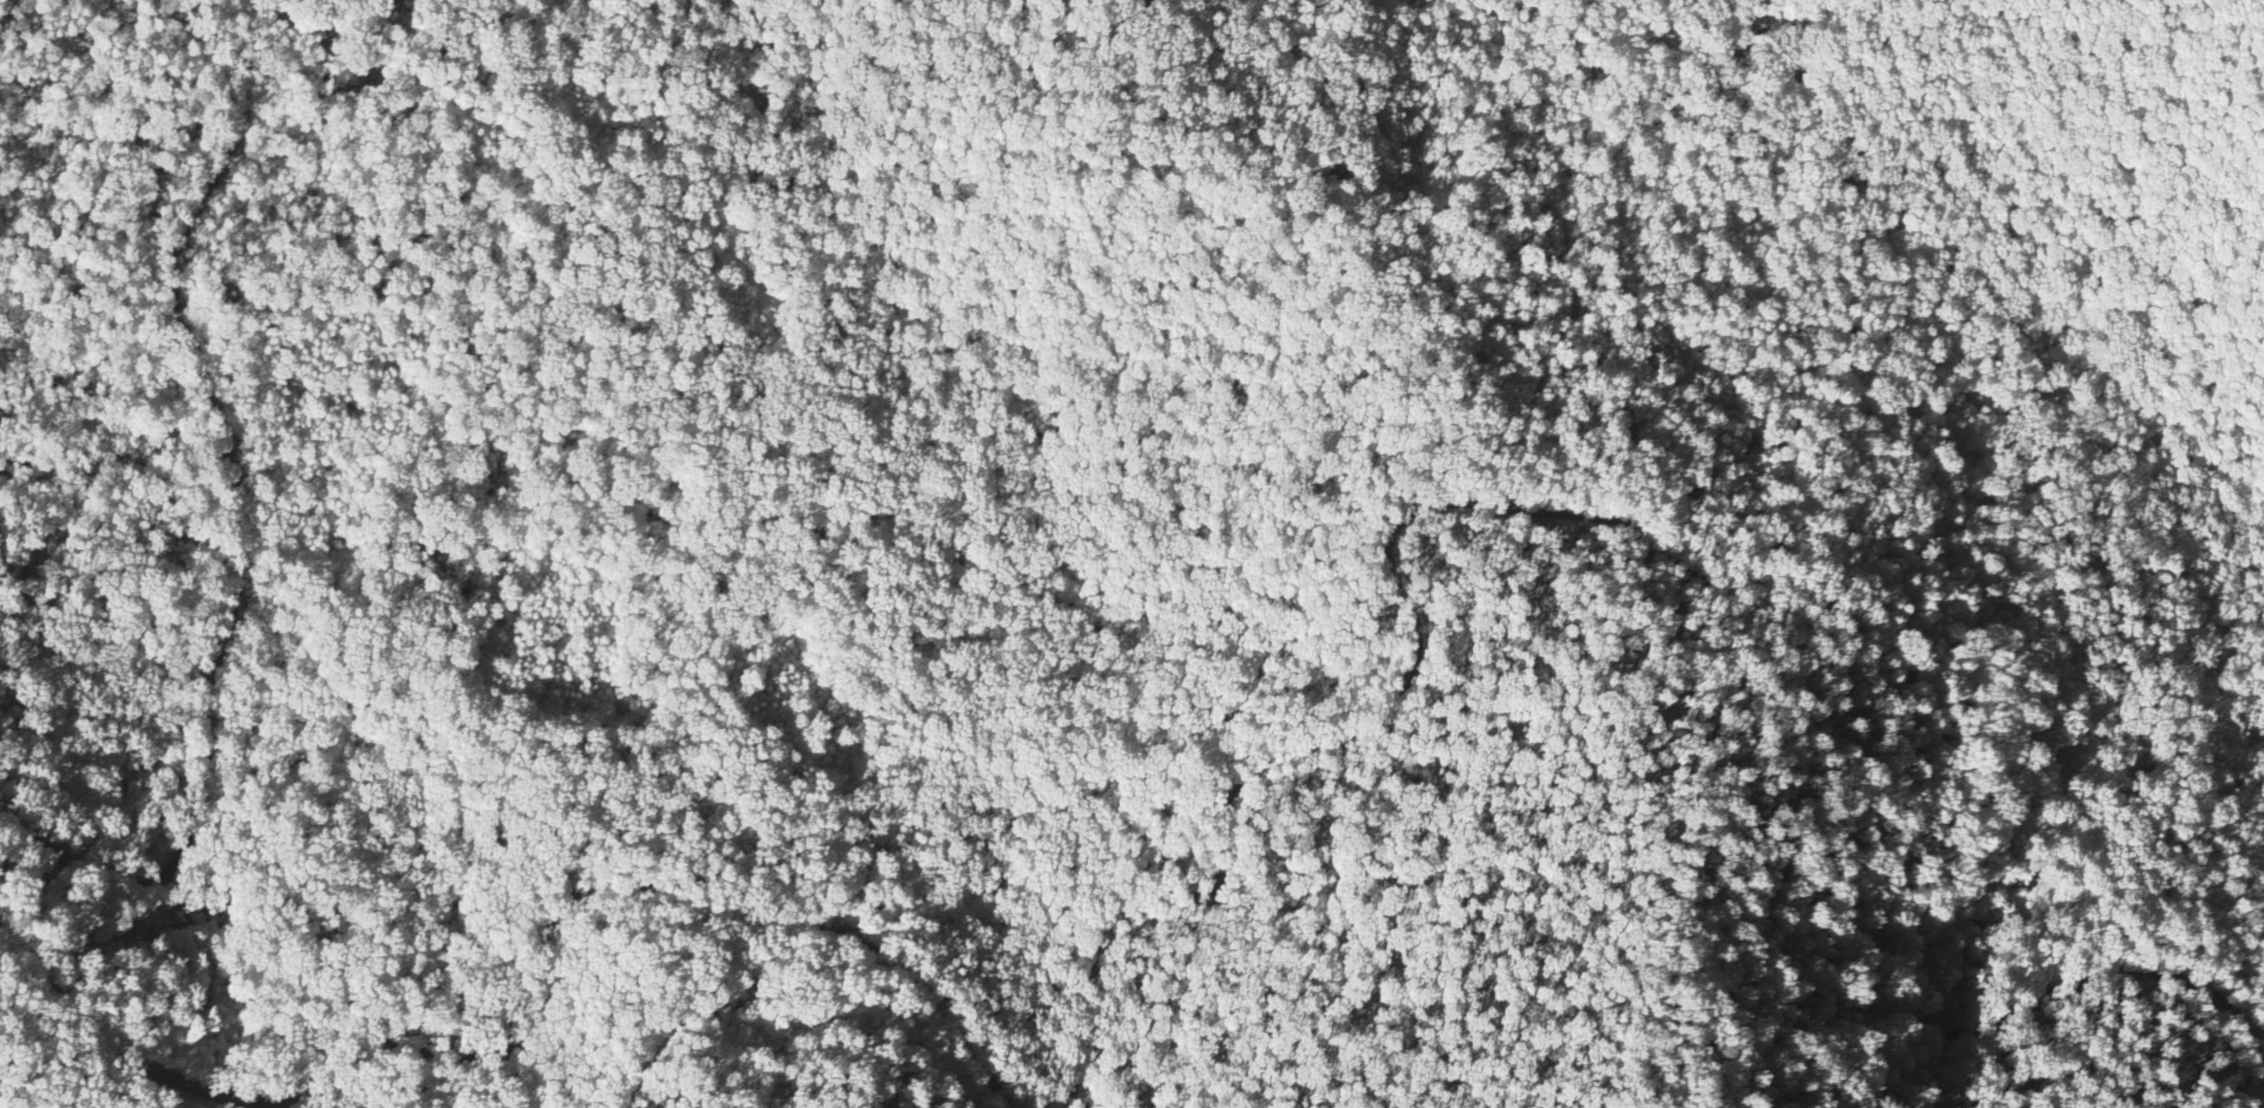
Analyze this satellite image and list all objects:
road: (236, 526)
road: (1643, 535)
road: (537, 1001)
road: (795, 1032)

